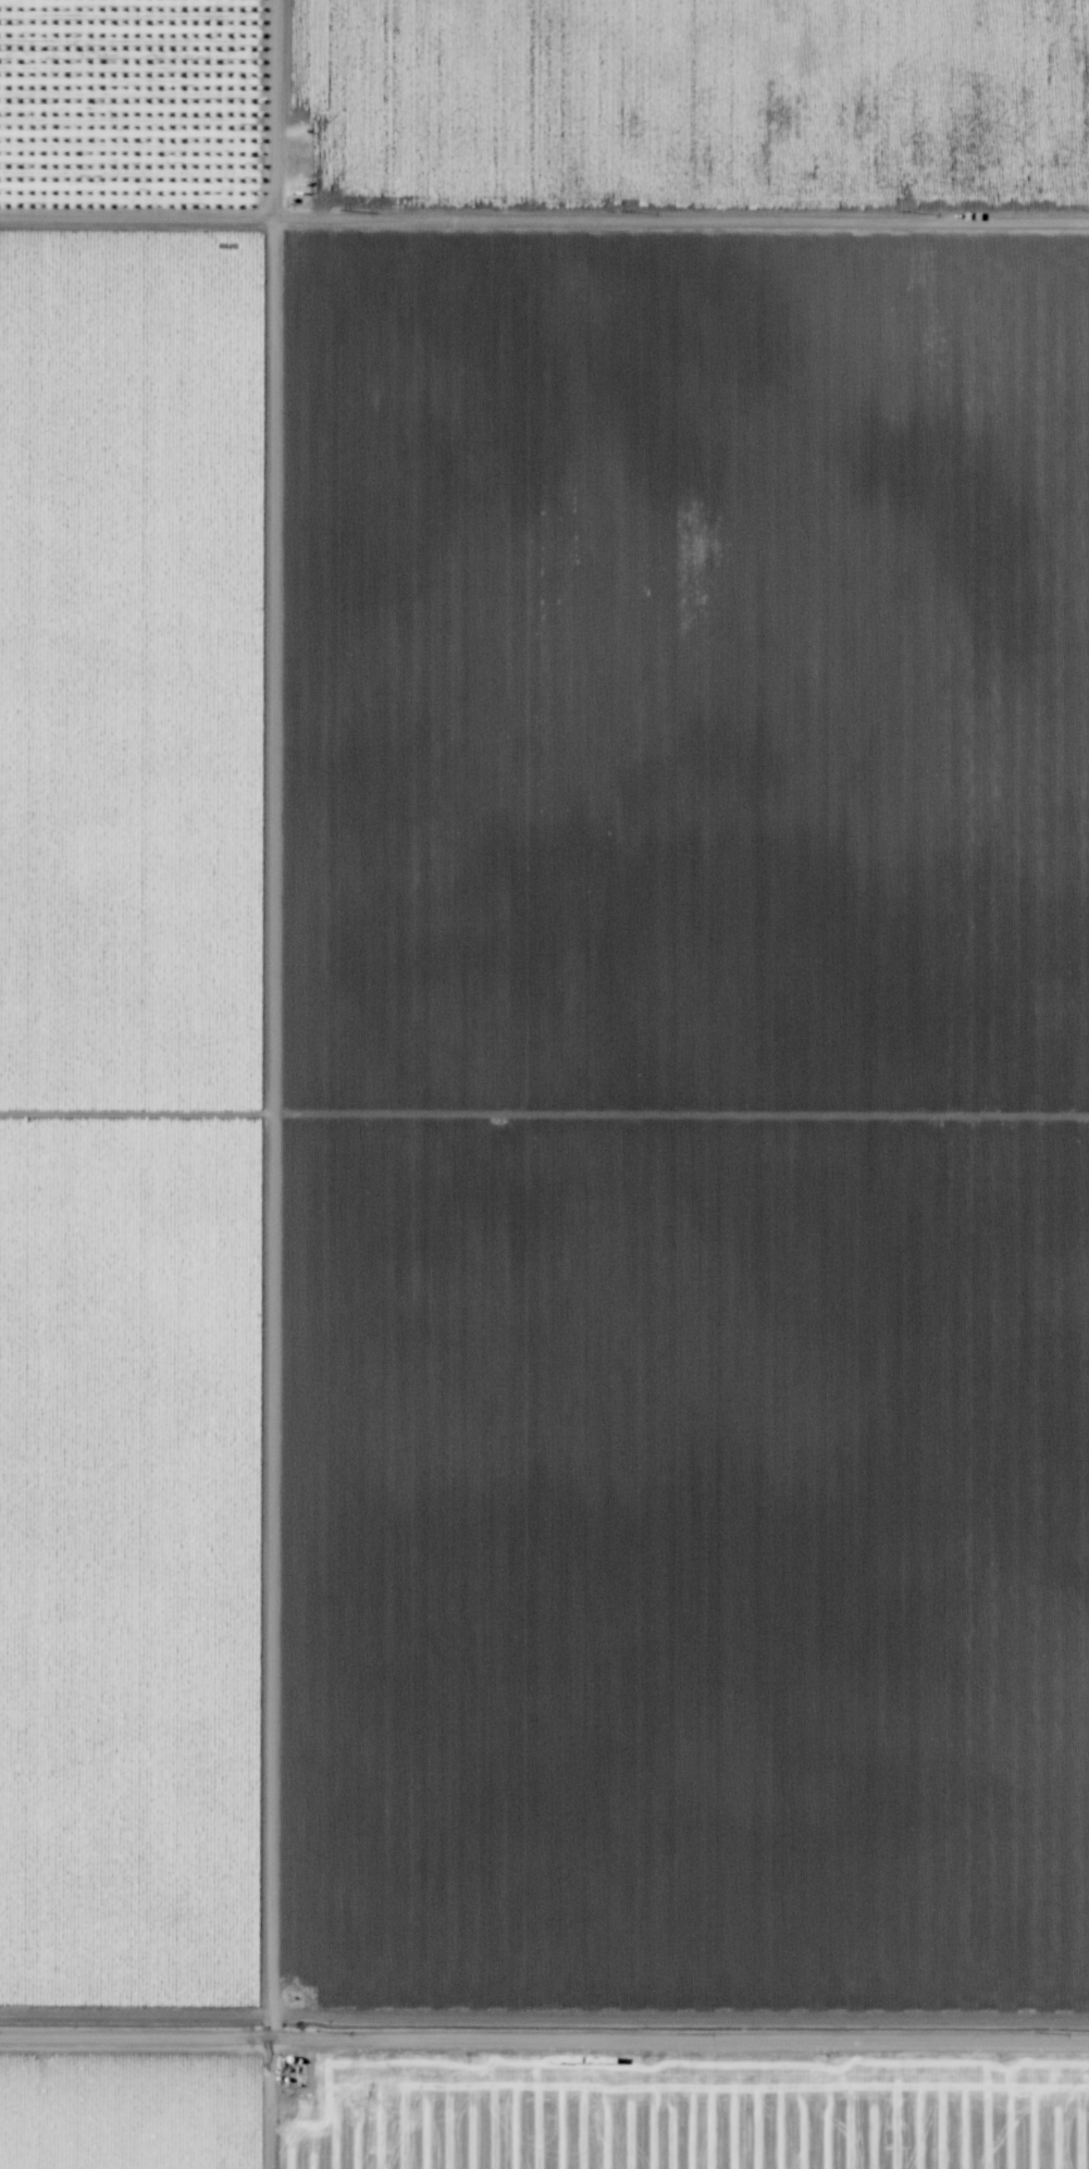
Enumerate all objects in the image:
road: (544, 2041)
road: (265, 2105)

